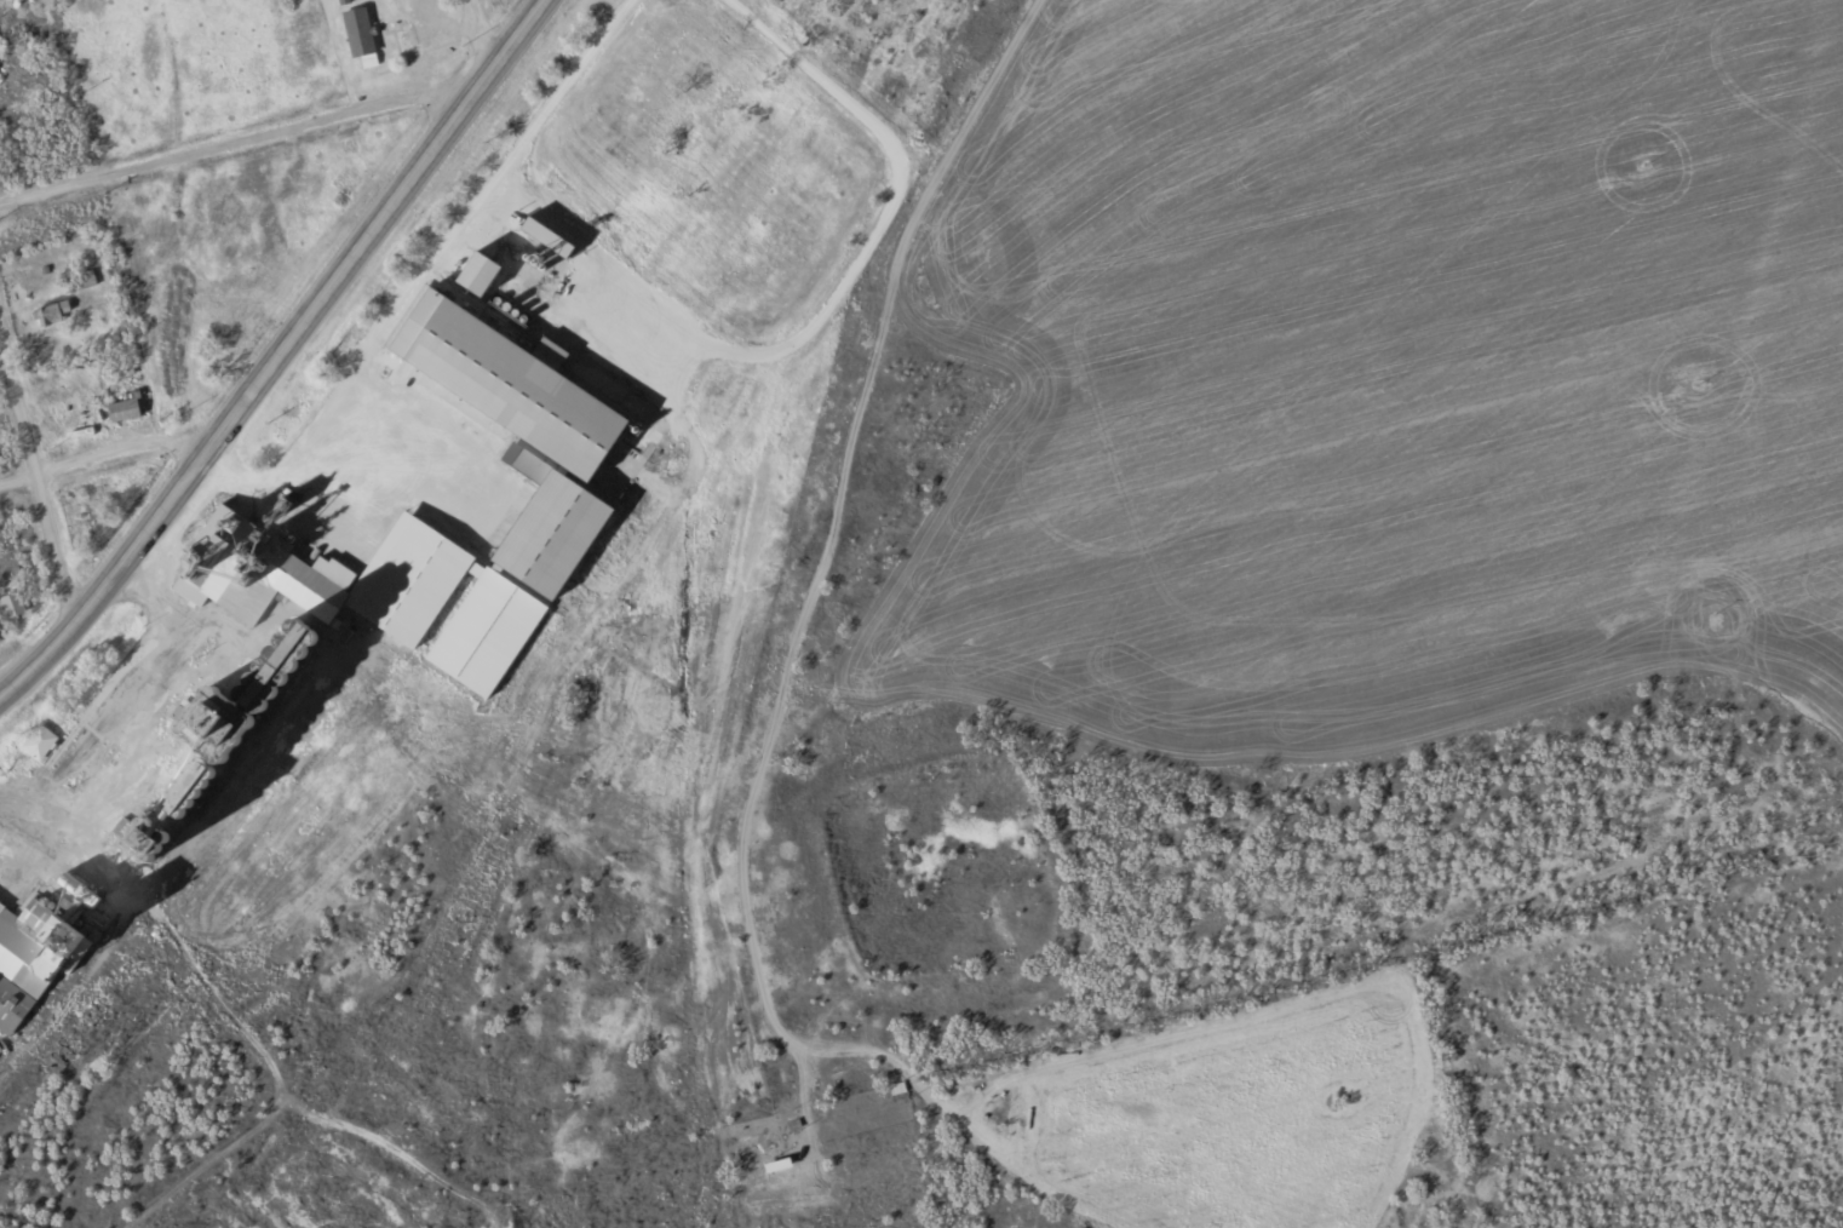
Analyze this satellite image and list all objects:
building: (364, 35)
road: (477, 39)
road: (513, 39)
road: (243, 140)
building: (559, 235)
road: (424, 263)
building: (54, 311)
building: (425, 325)
building: (536, 386)
road: (251, 390)
building: (130, 408)
road: (102, 452)
road: (36, 472)
building: (569, 532)
building: (223, 567)
building: (12, 607)
building: (298, 683)
building: (44, 741)
building: (39, 958)

